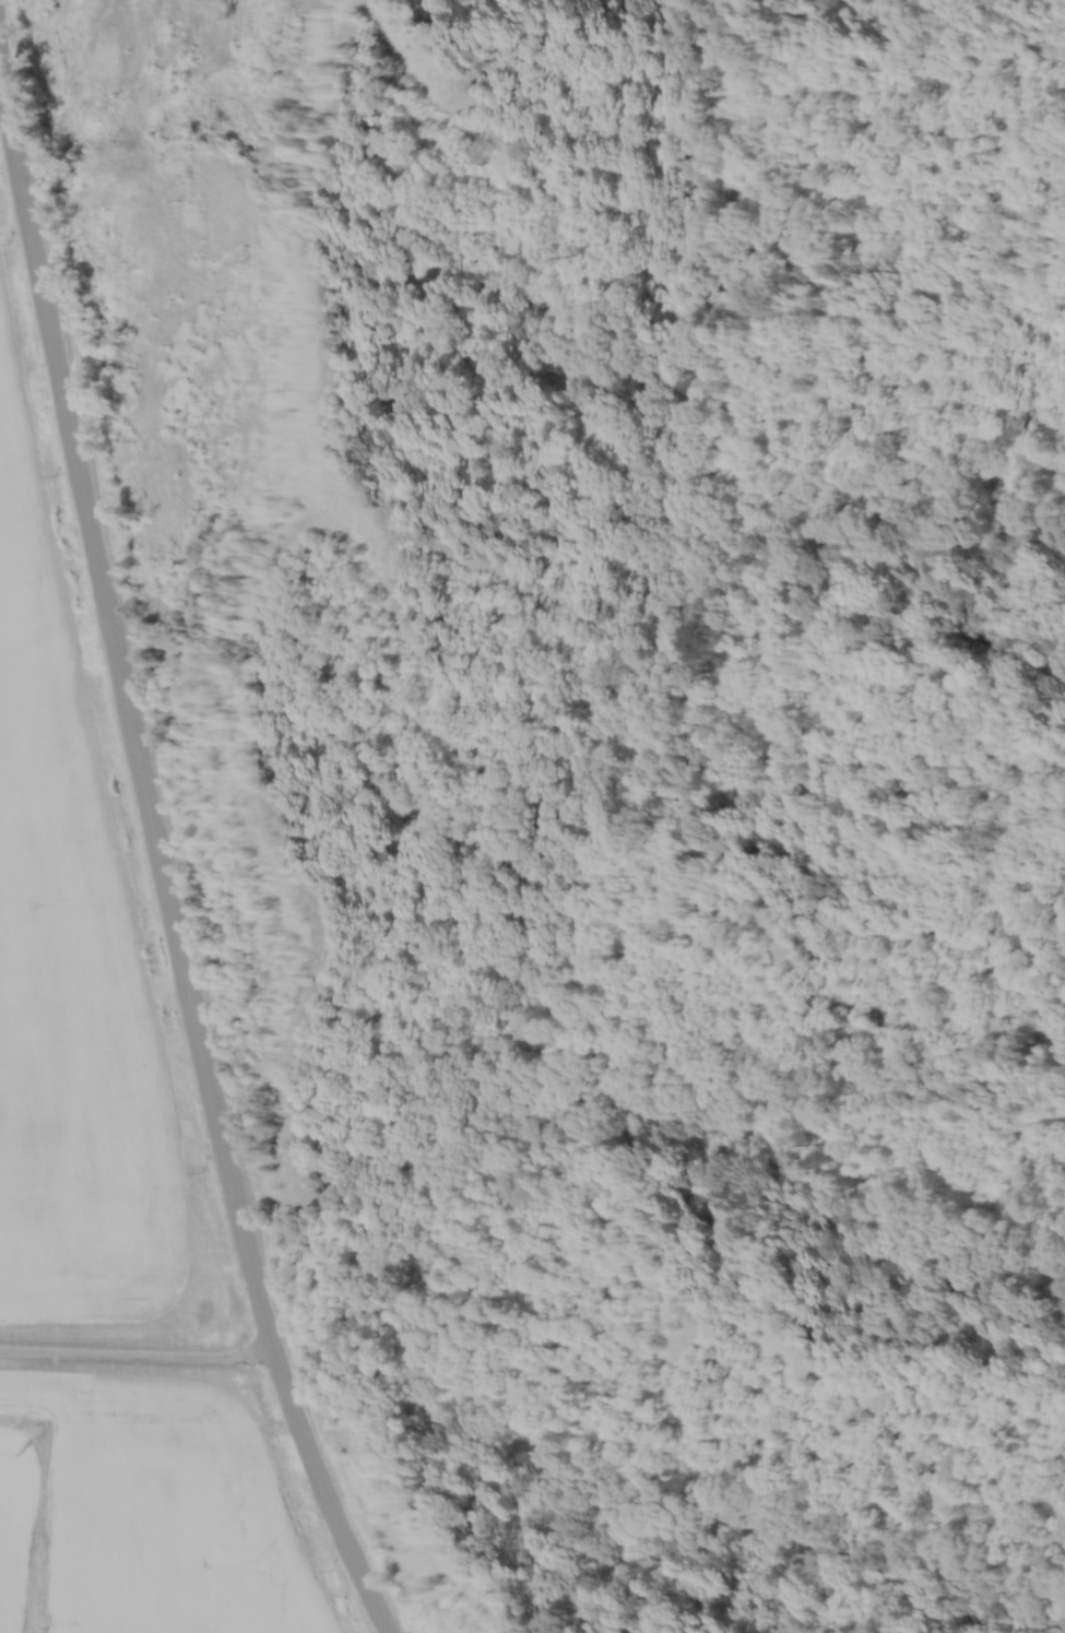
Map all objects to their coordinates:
road: (151, 894)

